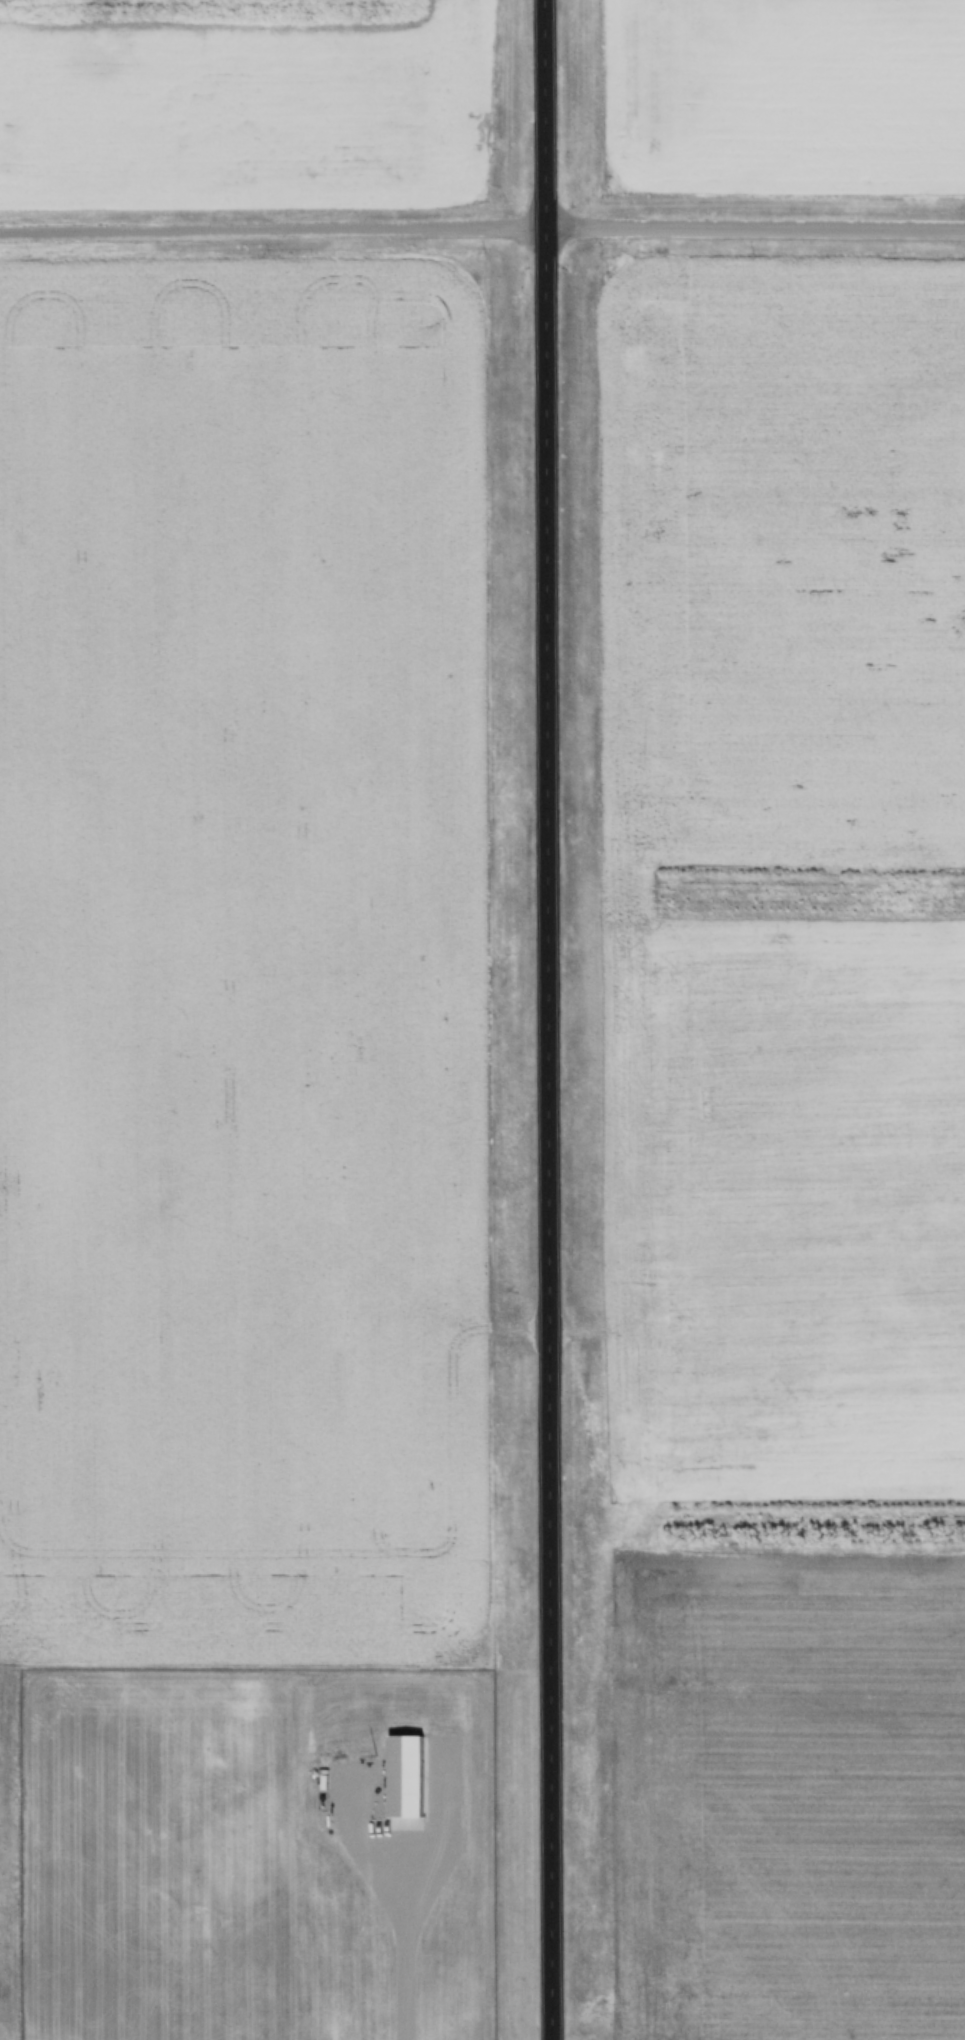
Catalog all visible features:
road: (482, 218)
crop: (243, 961)
road: (558, 1019)
building: (408, 1774)
building: (269, 1829)
road: (401, 1964)
building: (224, 1984)

